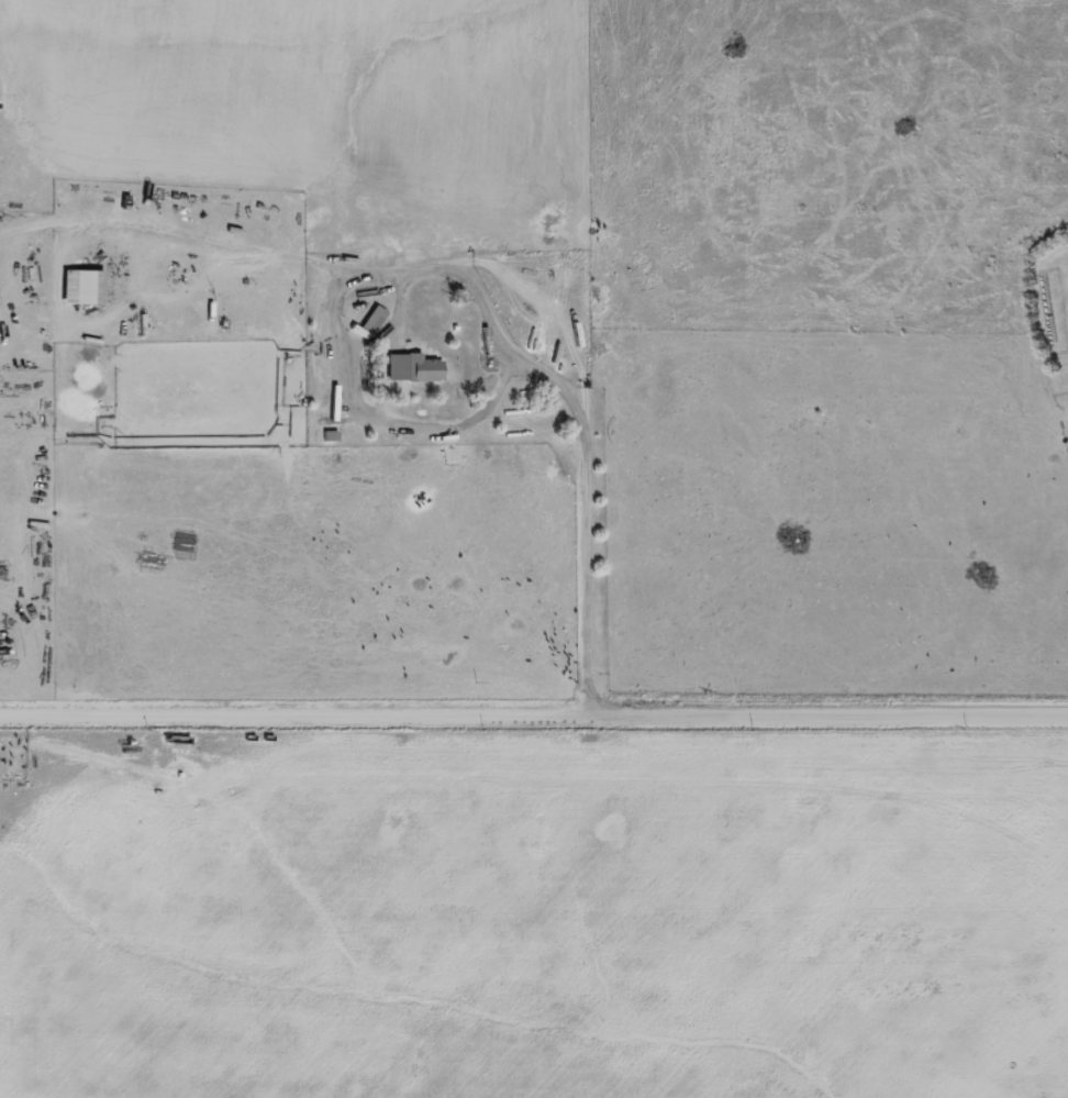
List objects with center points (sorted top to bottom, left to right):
building: (80, 289)
building: (371, 321)
building: (411, 369)
road: (534, 712)

